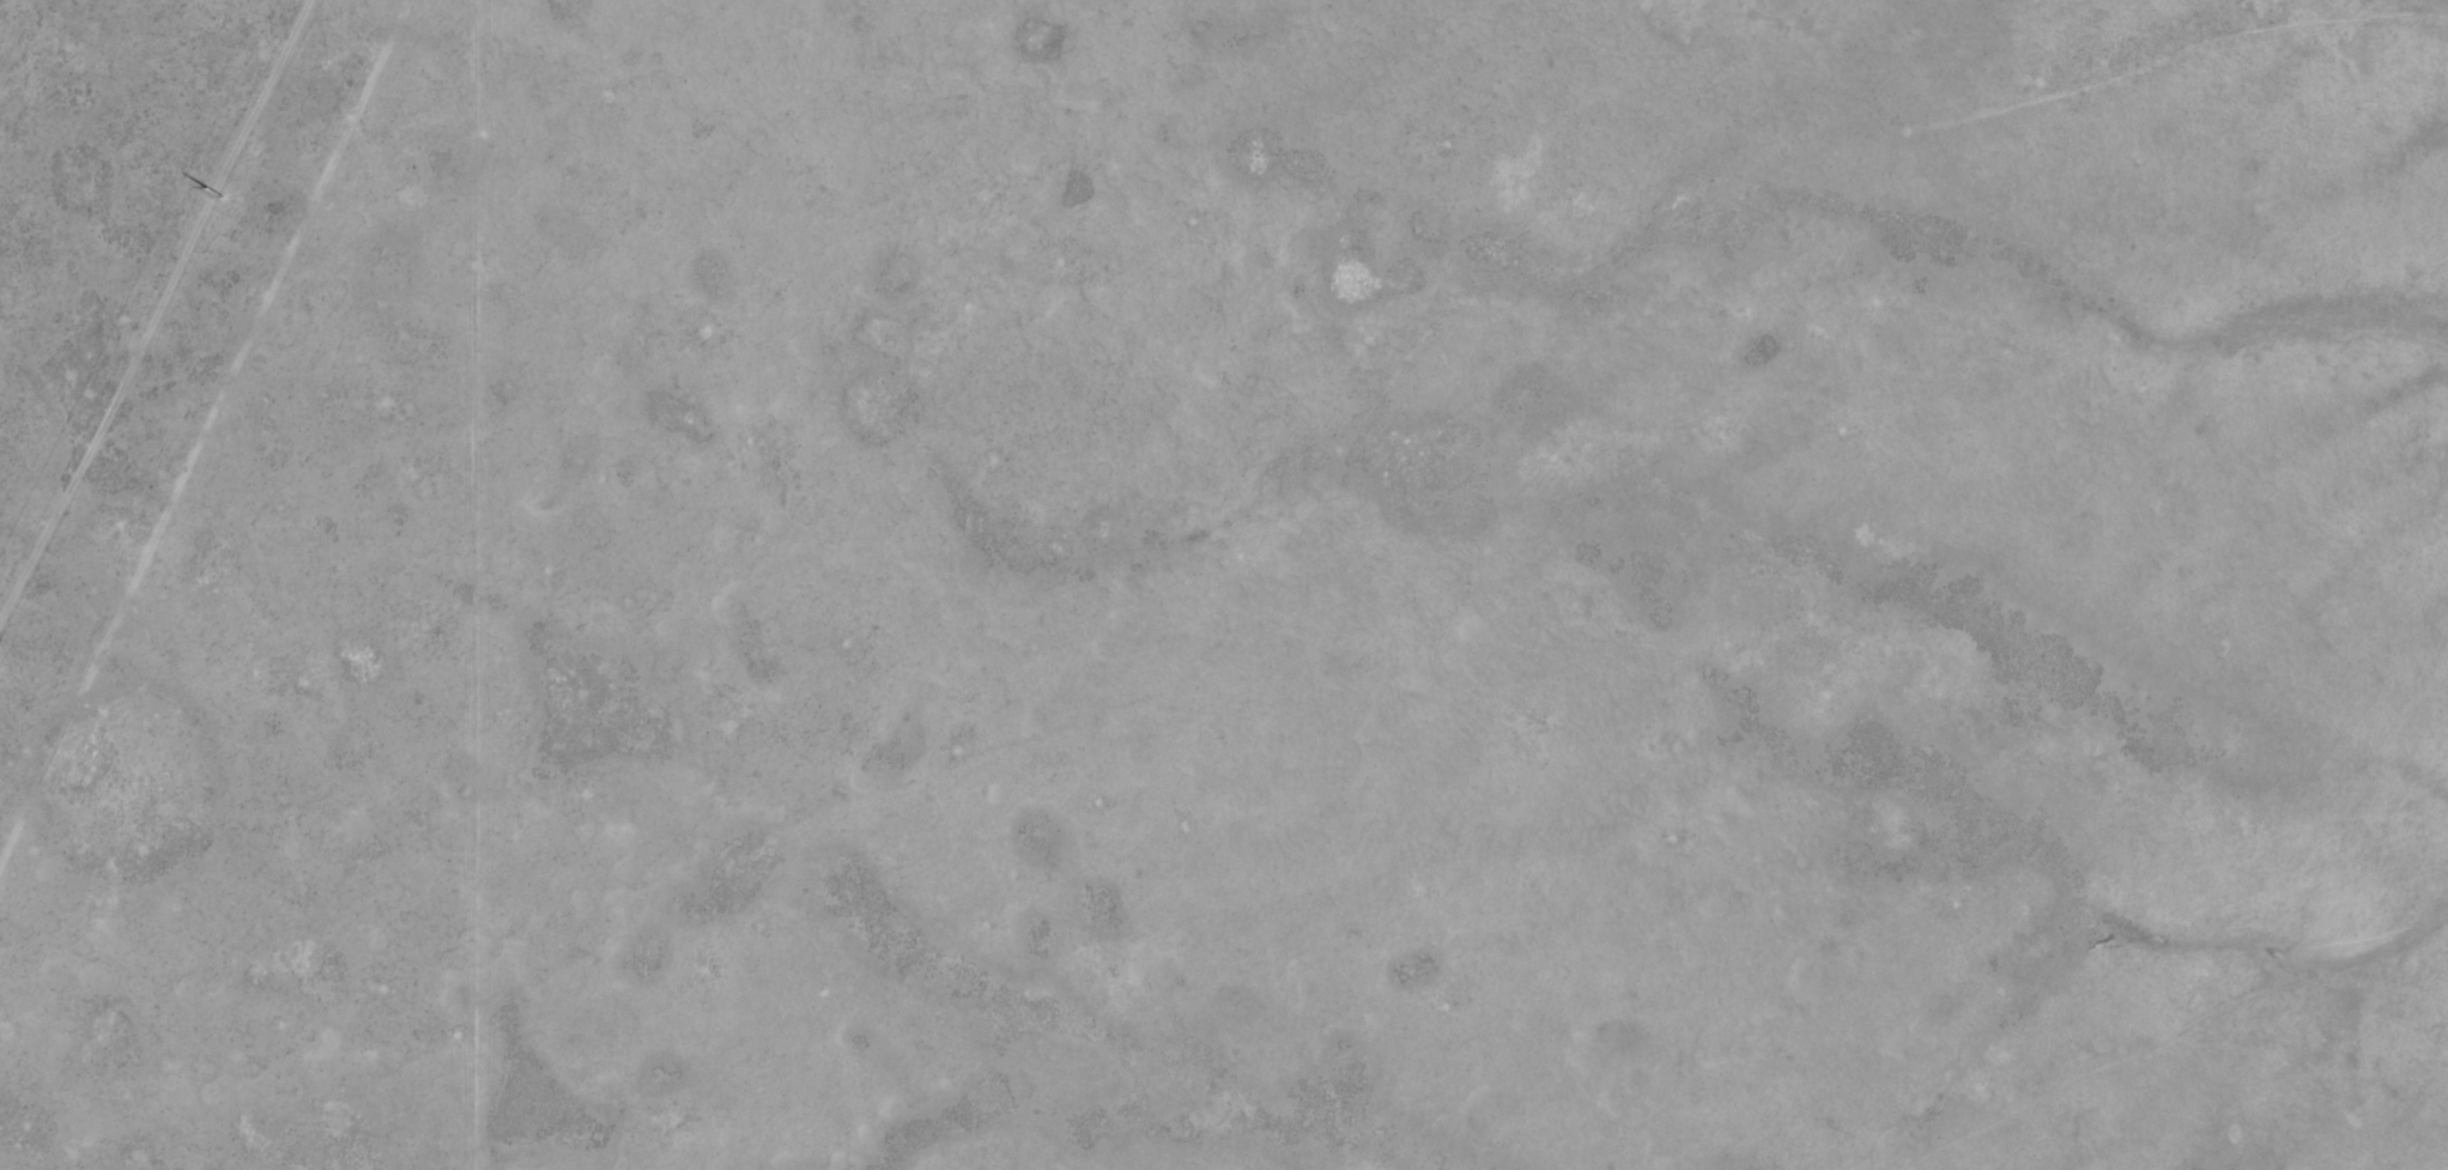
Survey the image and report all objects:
power tower: (216, 189)

